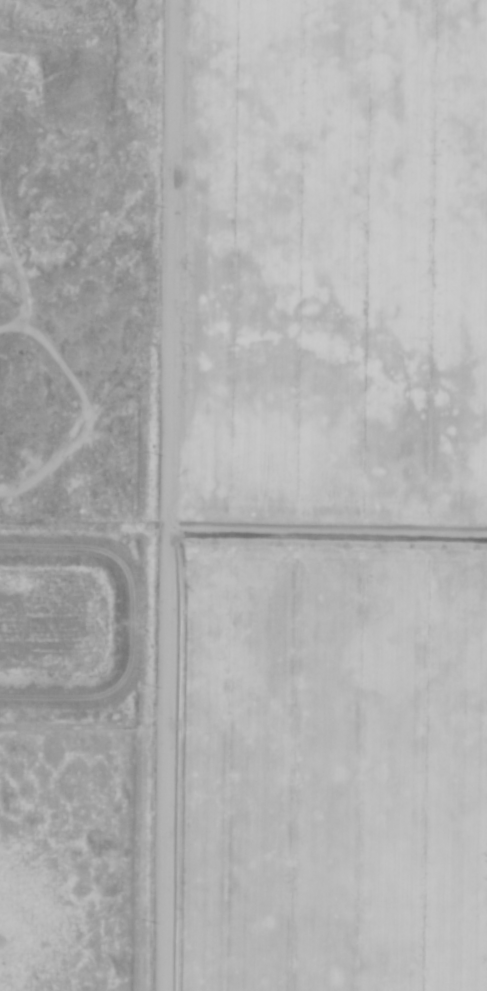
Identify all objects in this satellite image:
crop: (323, 497)

